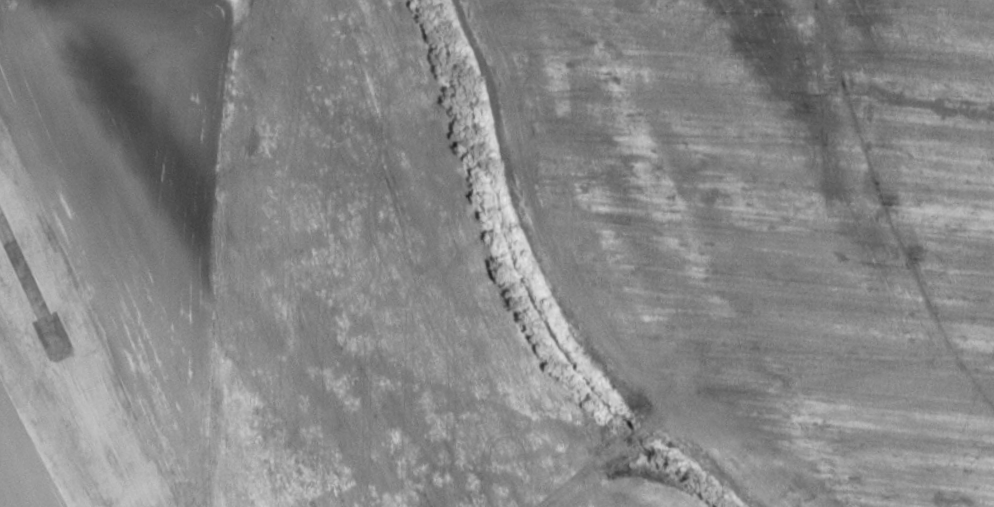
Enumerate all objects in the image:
airport runway: (29, 280)

